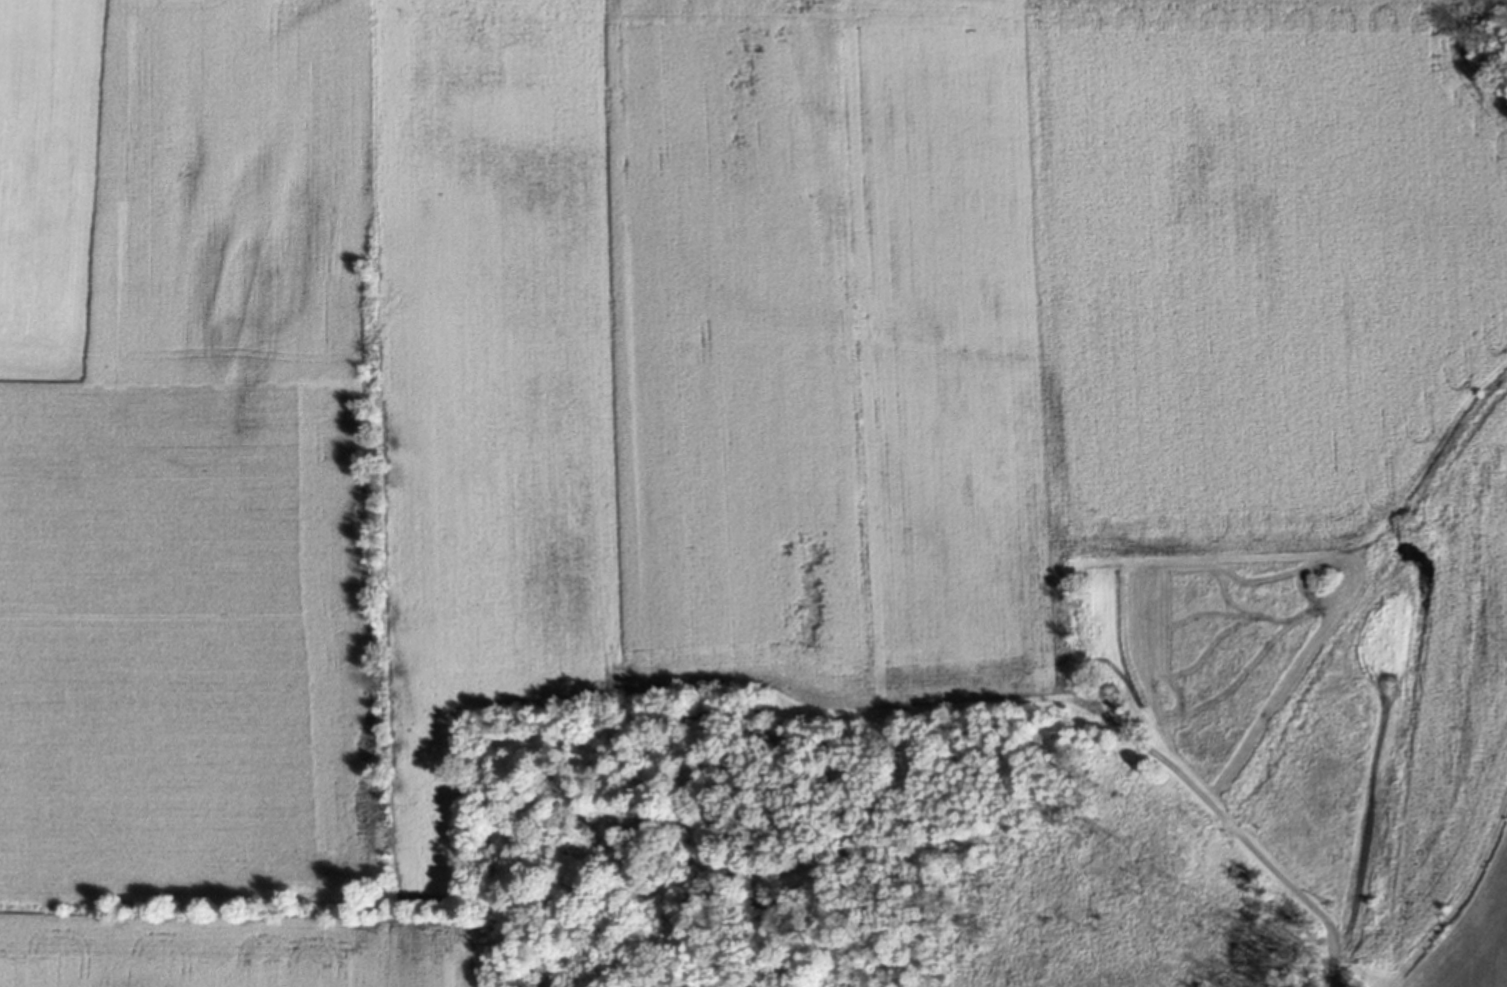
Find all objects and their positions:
road: (1329, 980)
building: (1346, 981)

